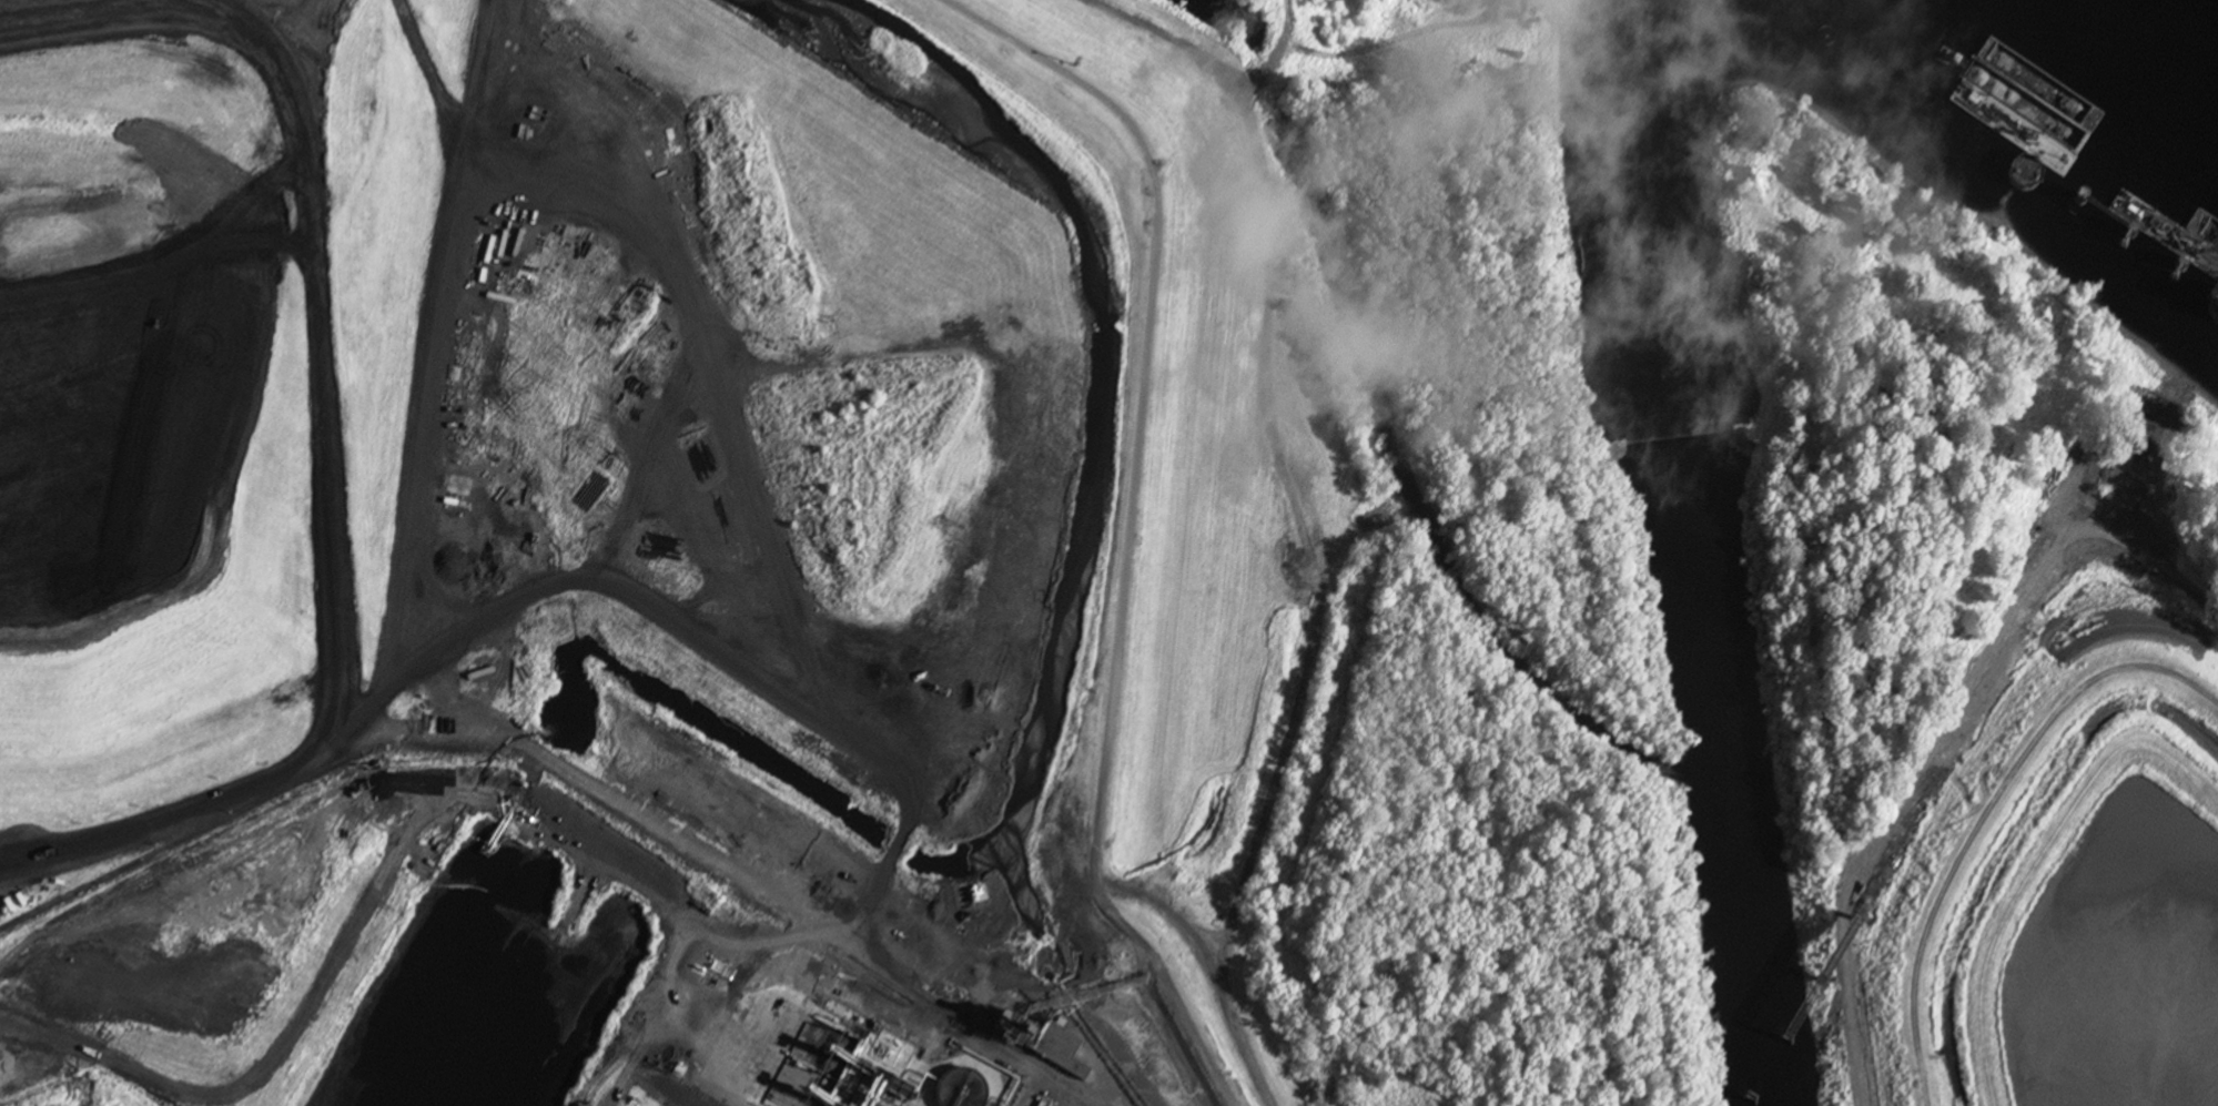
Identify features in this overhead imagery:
building: (2028, 177)
road: (1130, 518)
building: (1321, 540)
building: (1127, 987)
building: (1059, 1052)

